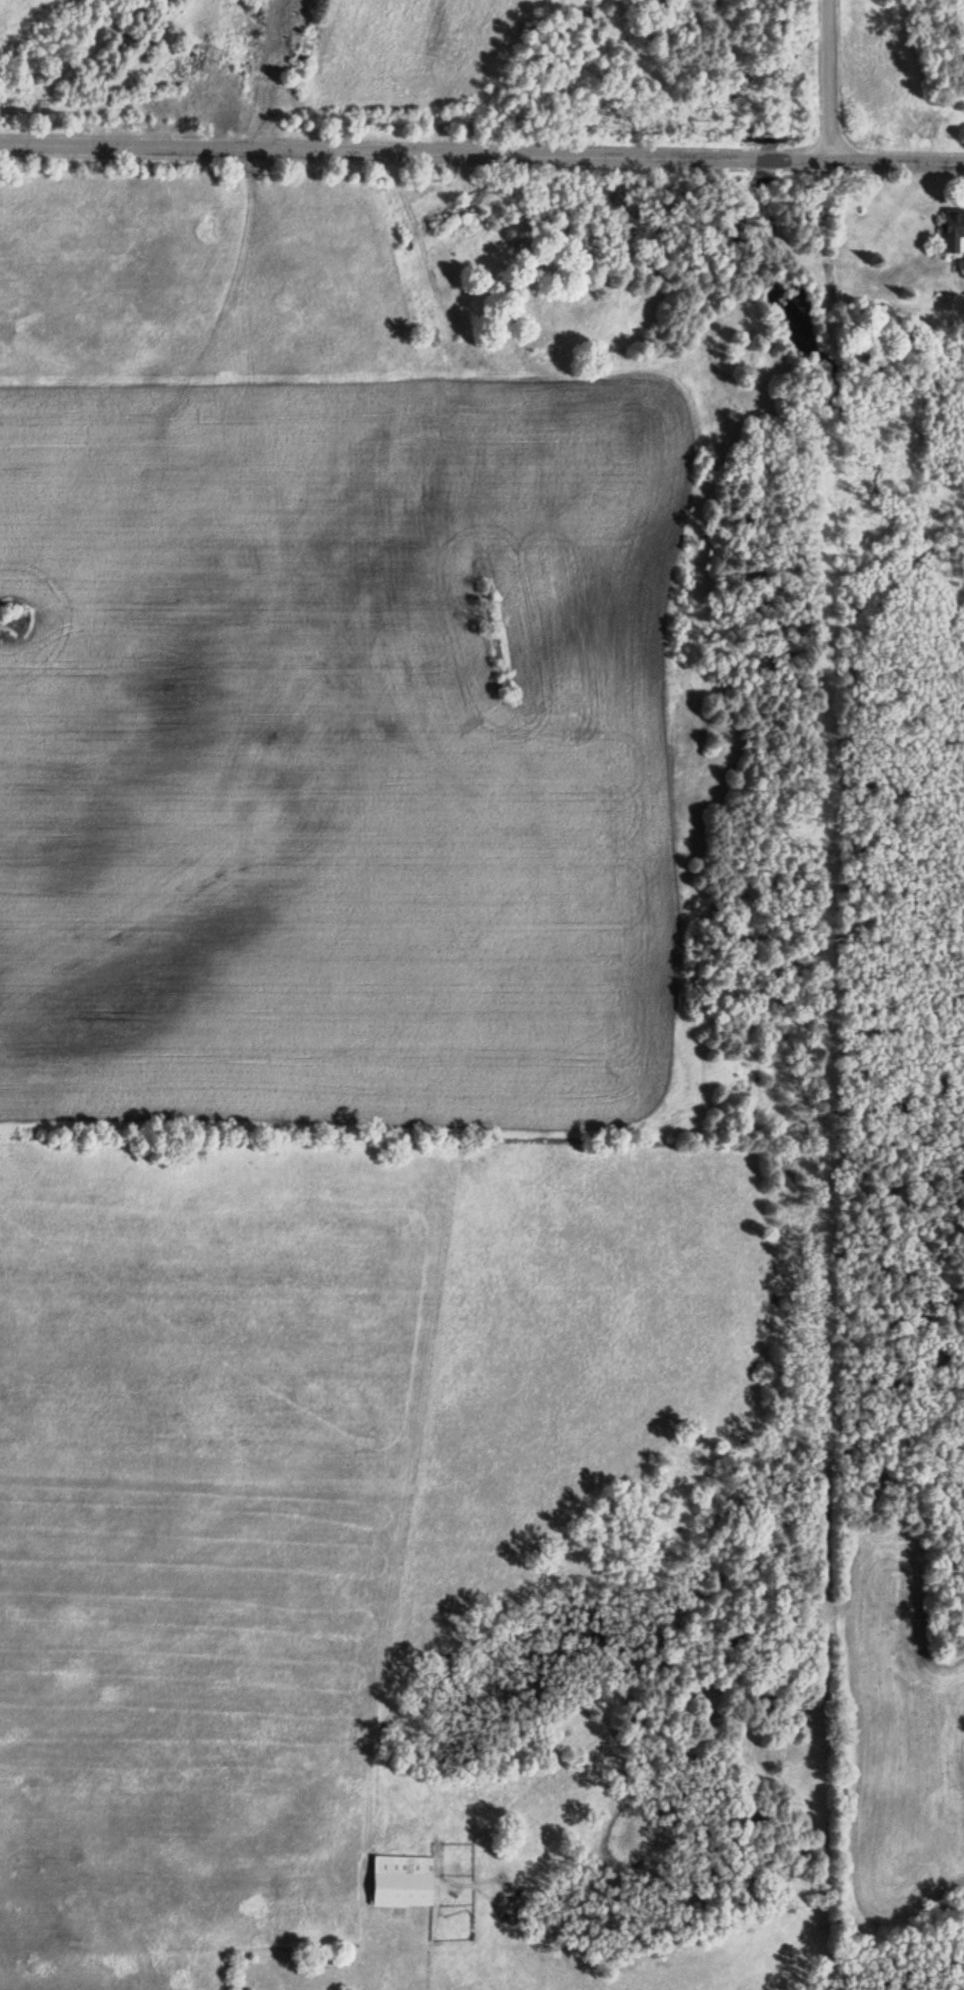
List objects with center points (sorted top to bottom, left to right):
road: (831, 81)
road: (482, 154)
building: (955, 232)
building: (403, 1881)

